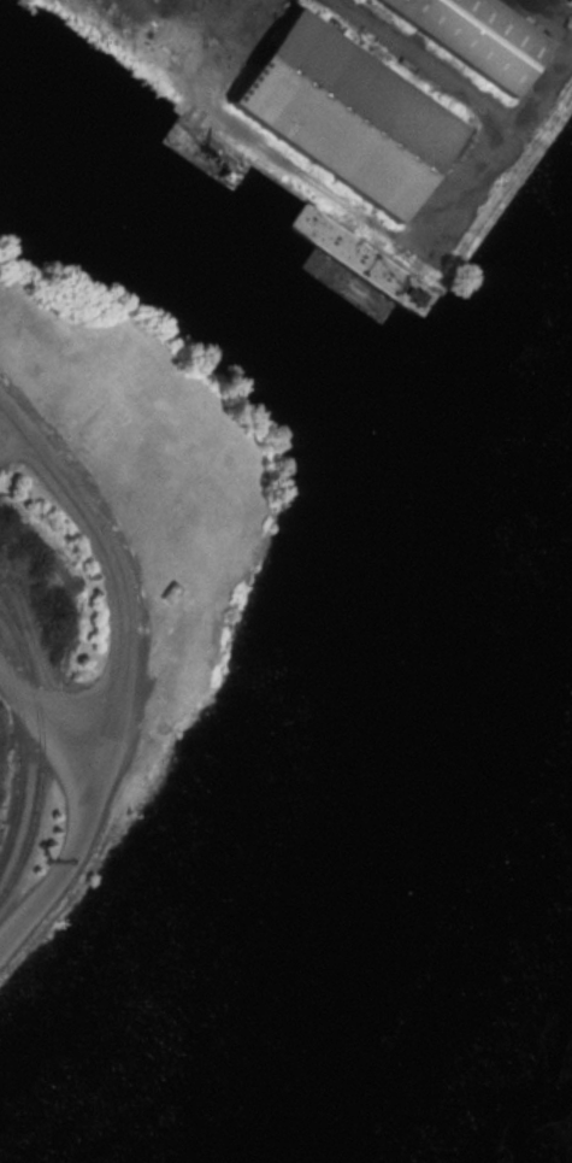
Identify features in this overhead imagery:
building: (476, 34)
building: (343, 113)
road: (125, 598)
railway: (20, 750)
railway: (40, 751)

